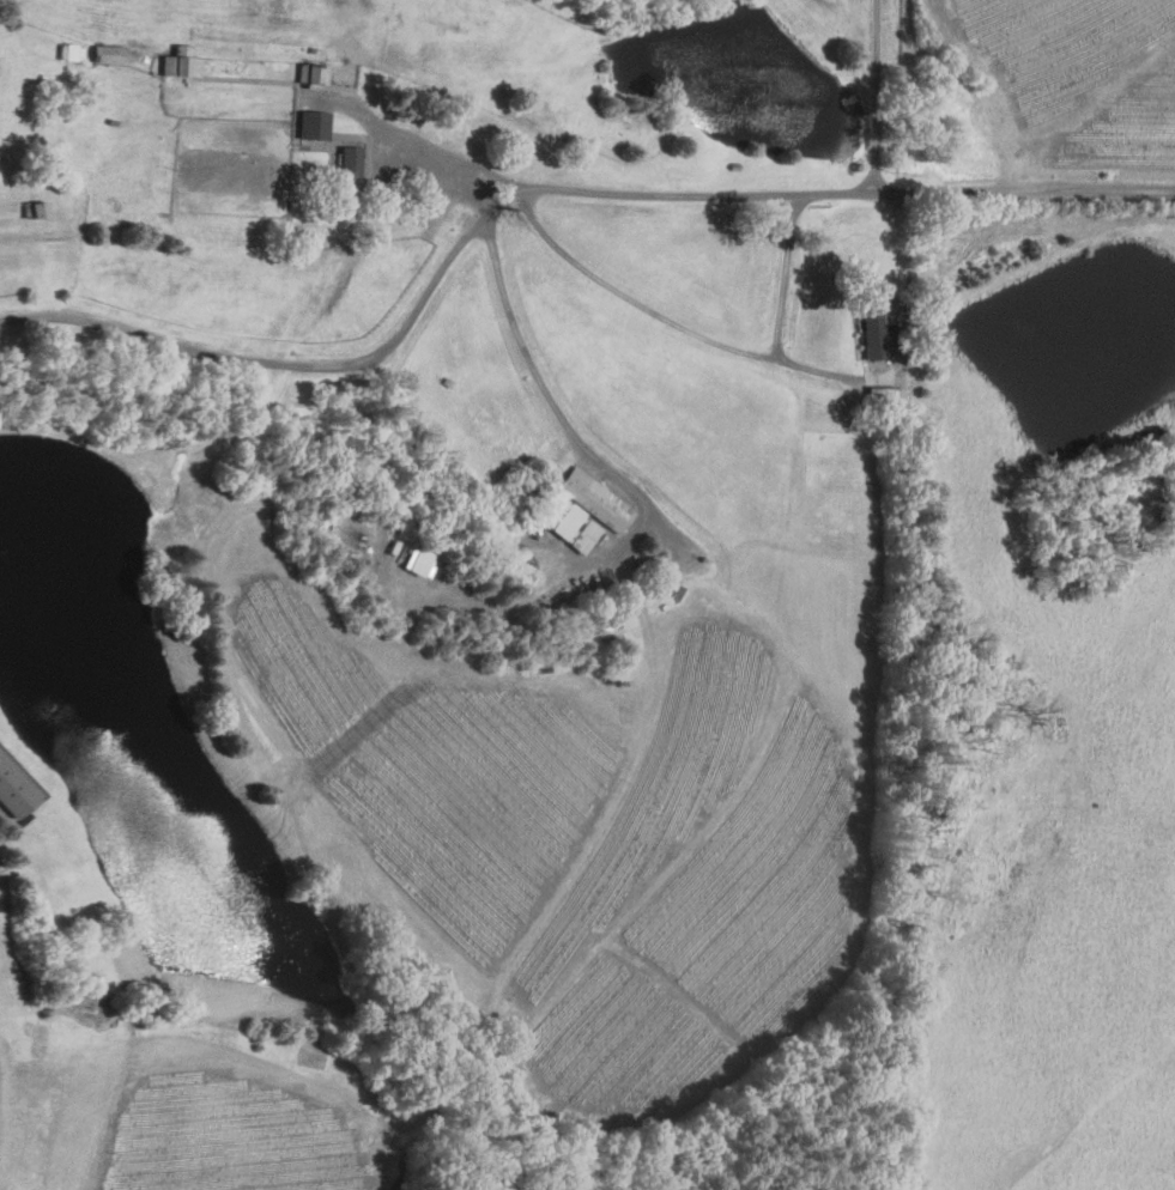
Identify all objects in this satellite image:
building: (69, 50)
building: (109, 53)
building: (180, 60)
building: (313, 72)
road: (969, 84)
building: (314, 123)
building: (350, 160)
road: (473, 171)
road: (539, 187)
building: (35, 208)
building: (876, 335)
building: (587, 511)
building: (418, 561)
building: (14, 787)

